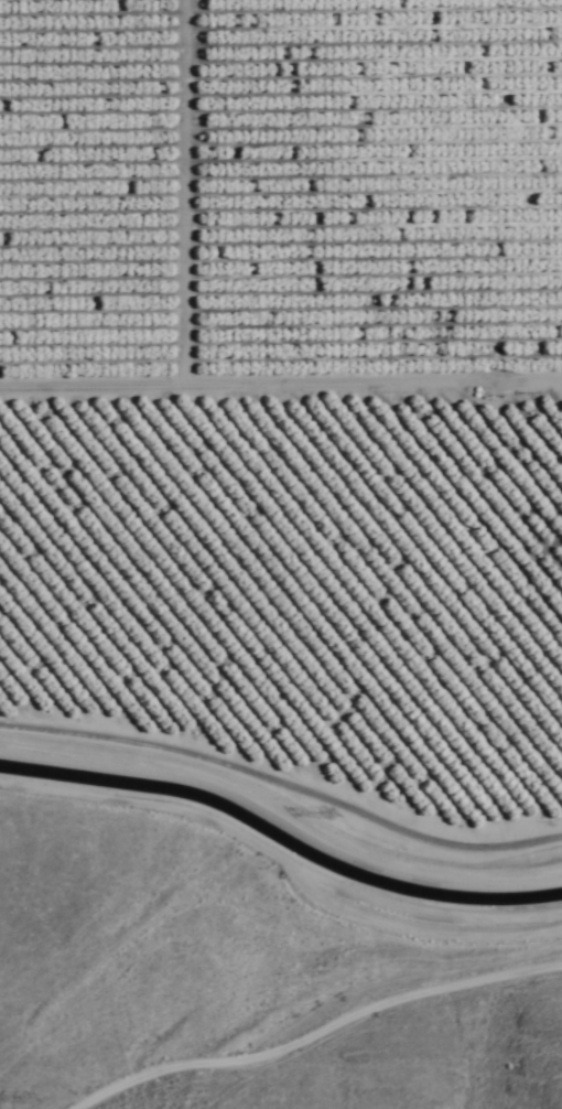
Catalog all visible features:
crop: (289, 383)
power tower: (325, 815)
road: (289, 995)
road: (188, 1060)
power tower: (33, 1095)

